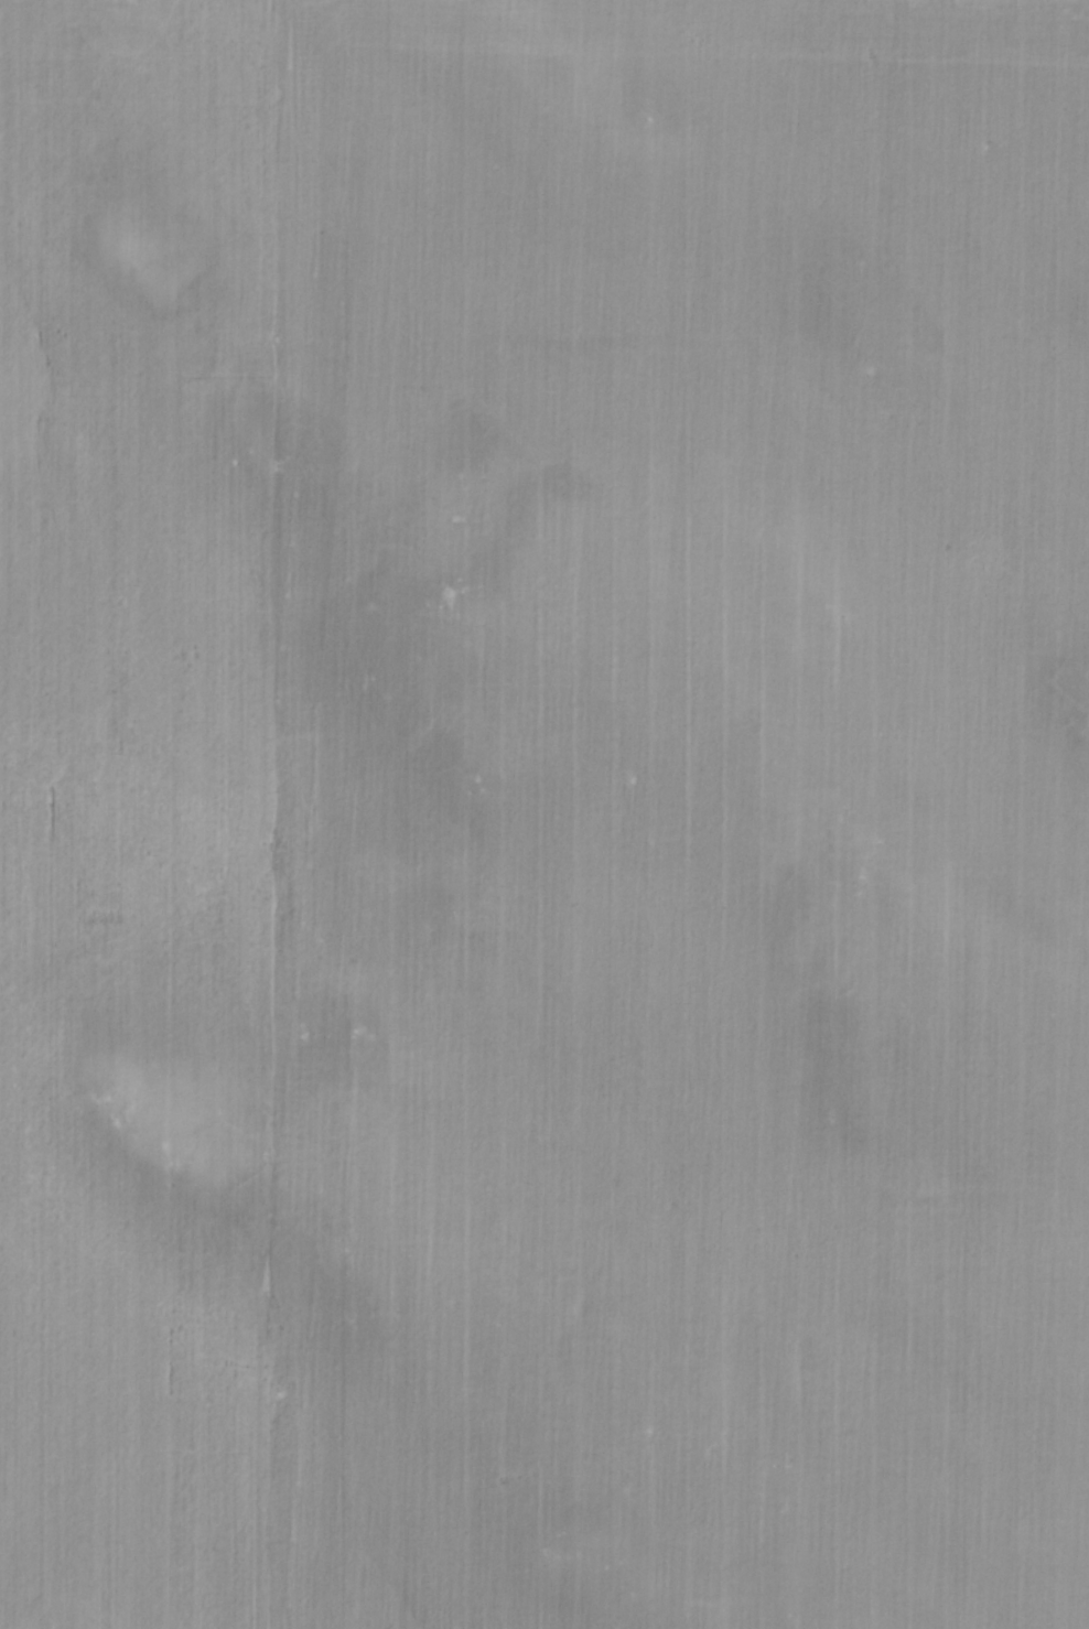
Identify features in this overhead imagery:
crop: (544, 814)

